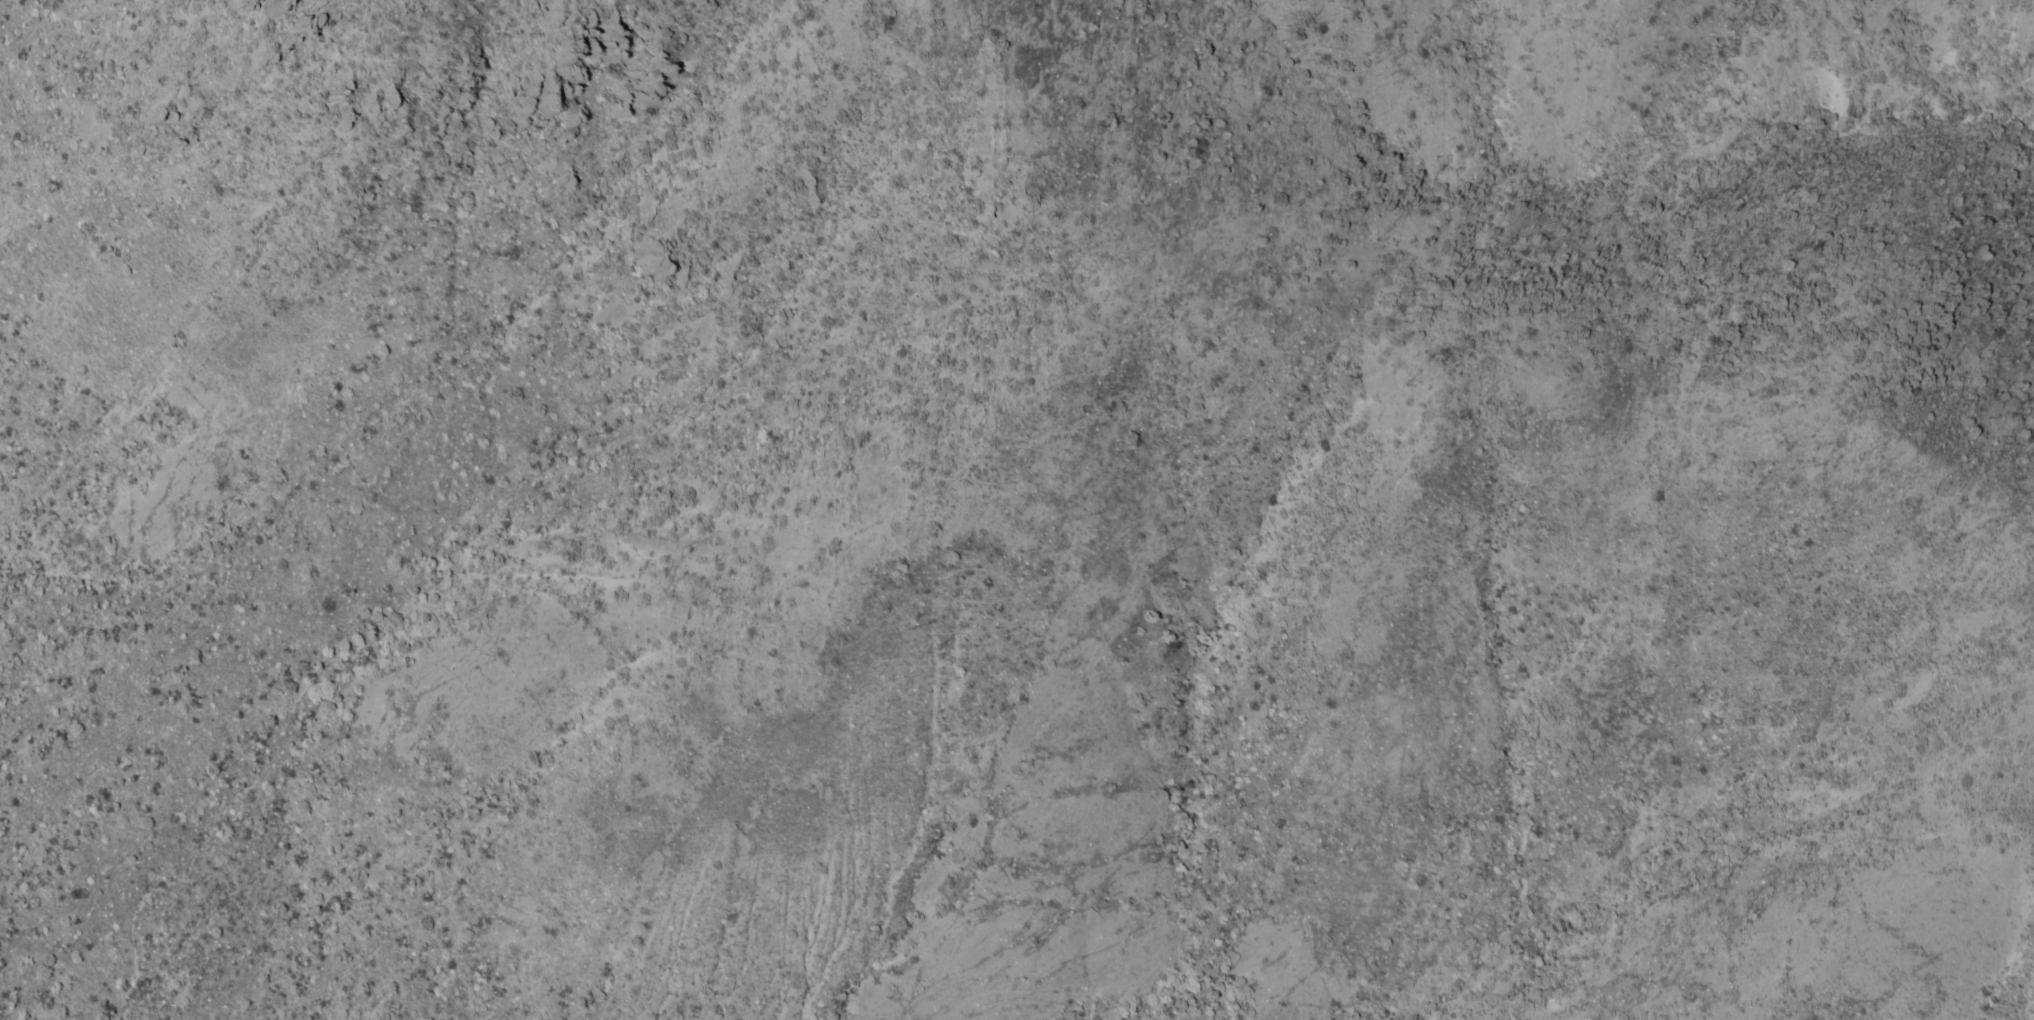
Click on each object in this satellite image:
road: (2032, 1)

